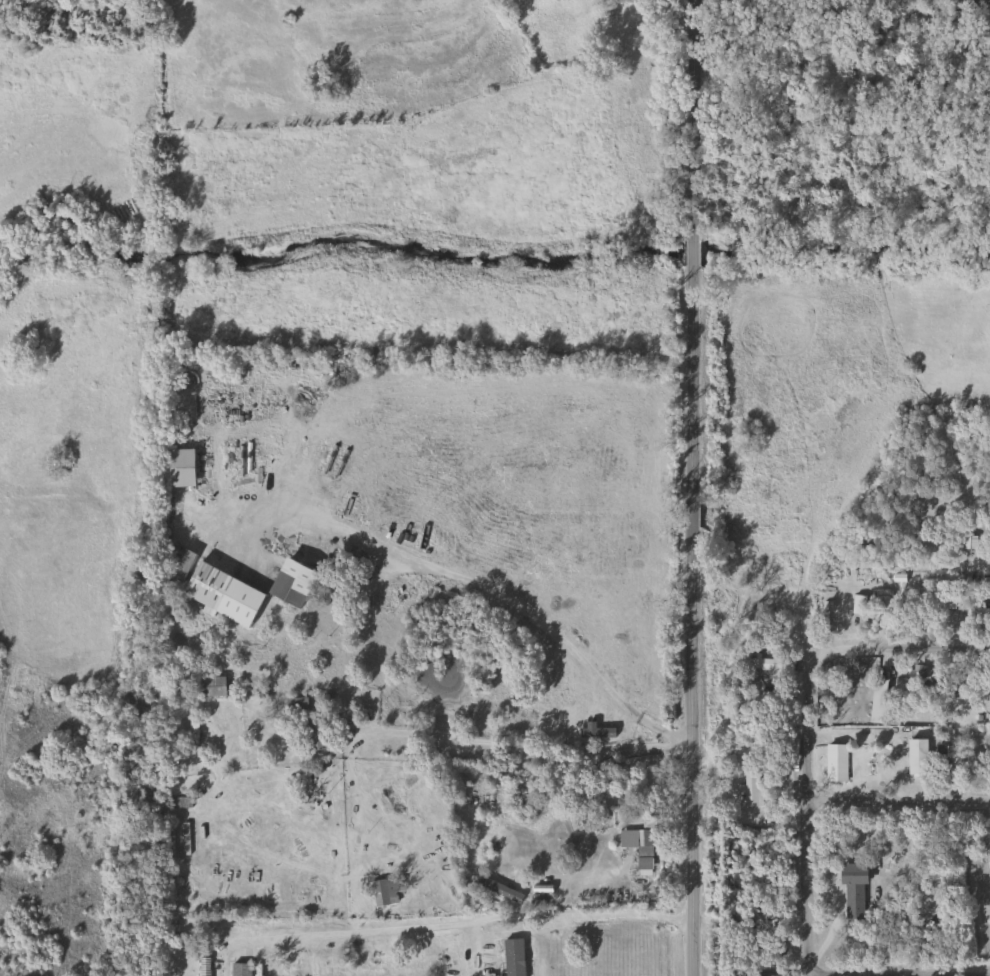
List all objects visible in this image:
road: (806, 84)
road: (857, 477)
road: (692, 488)
building: (945, 597)
building: (880, 604)
road: (517, 607)
road: (897, 646)
building: (761, 667)
building: (922, 679)
building: (988, 701)
building: (296, 705)
building: (881, 705)
building: (314, 733)
building: (192, 738)
road: (519, 746)
building: (916, 756)
building: (835, 762)
building: (606, 767)
building: (751, 789)
road: (897, 795)
building: (178, 802)
building: (580, 809)
road: (805, 810)
building: (166, 840)
building: (644, 852)
building: (852, 889)
building: (383, 890)
road: (471, 920)
building: (512, 953)
building: (239, 969)
road: (897, 970)
building: (767, 975)

